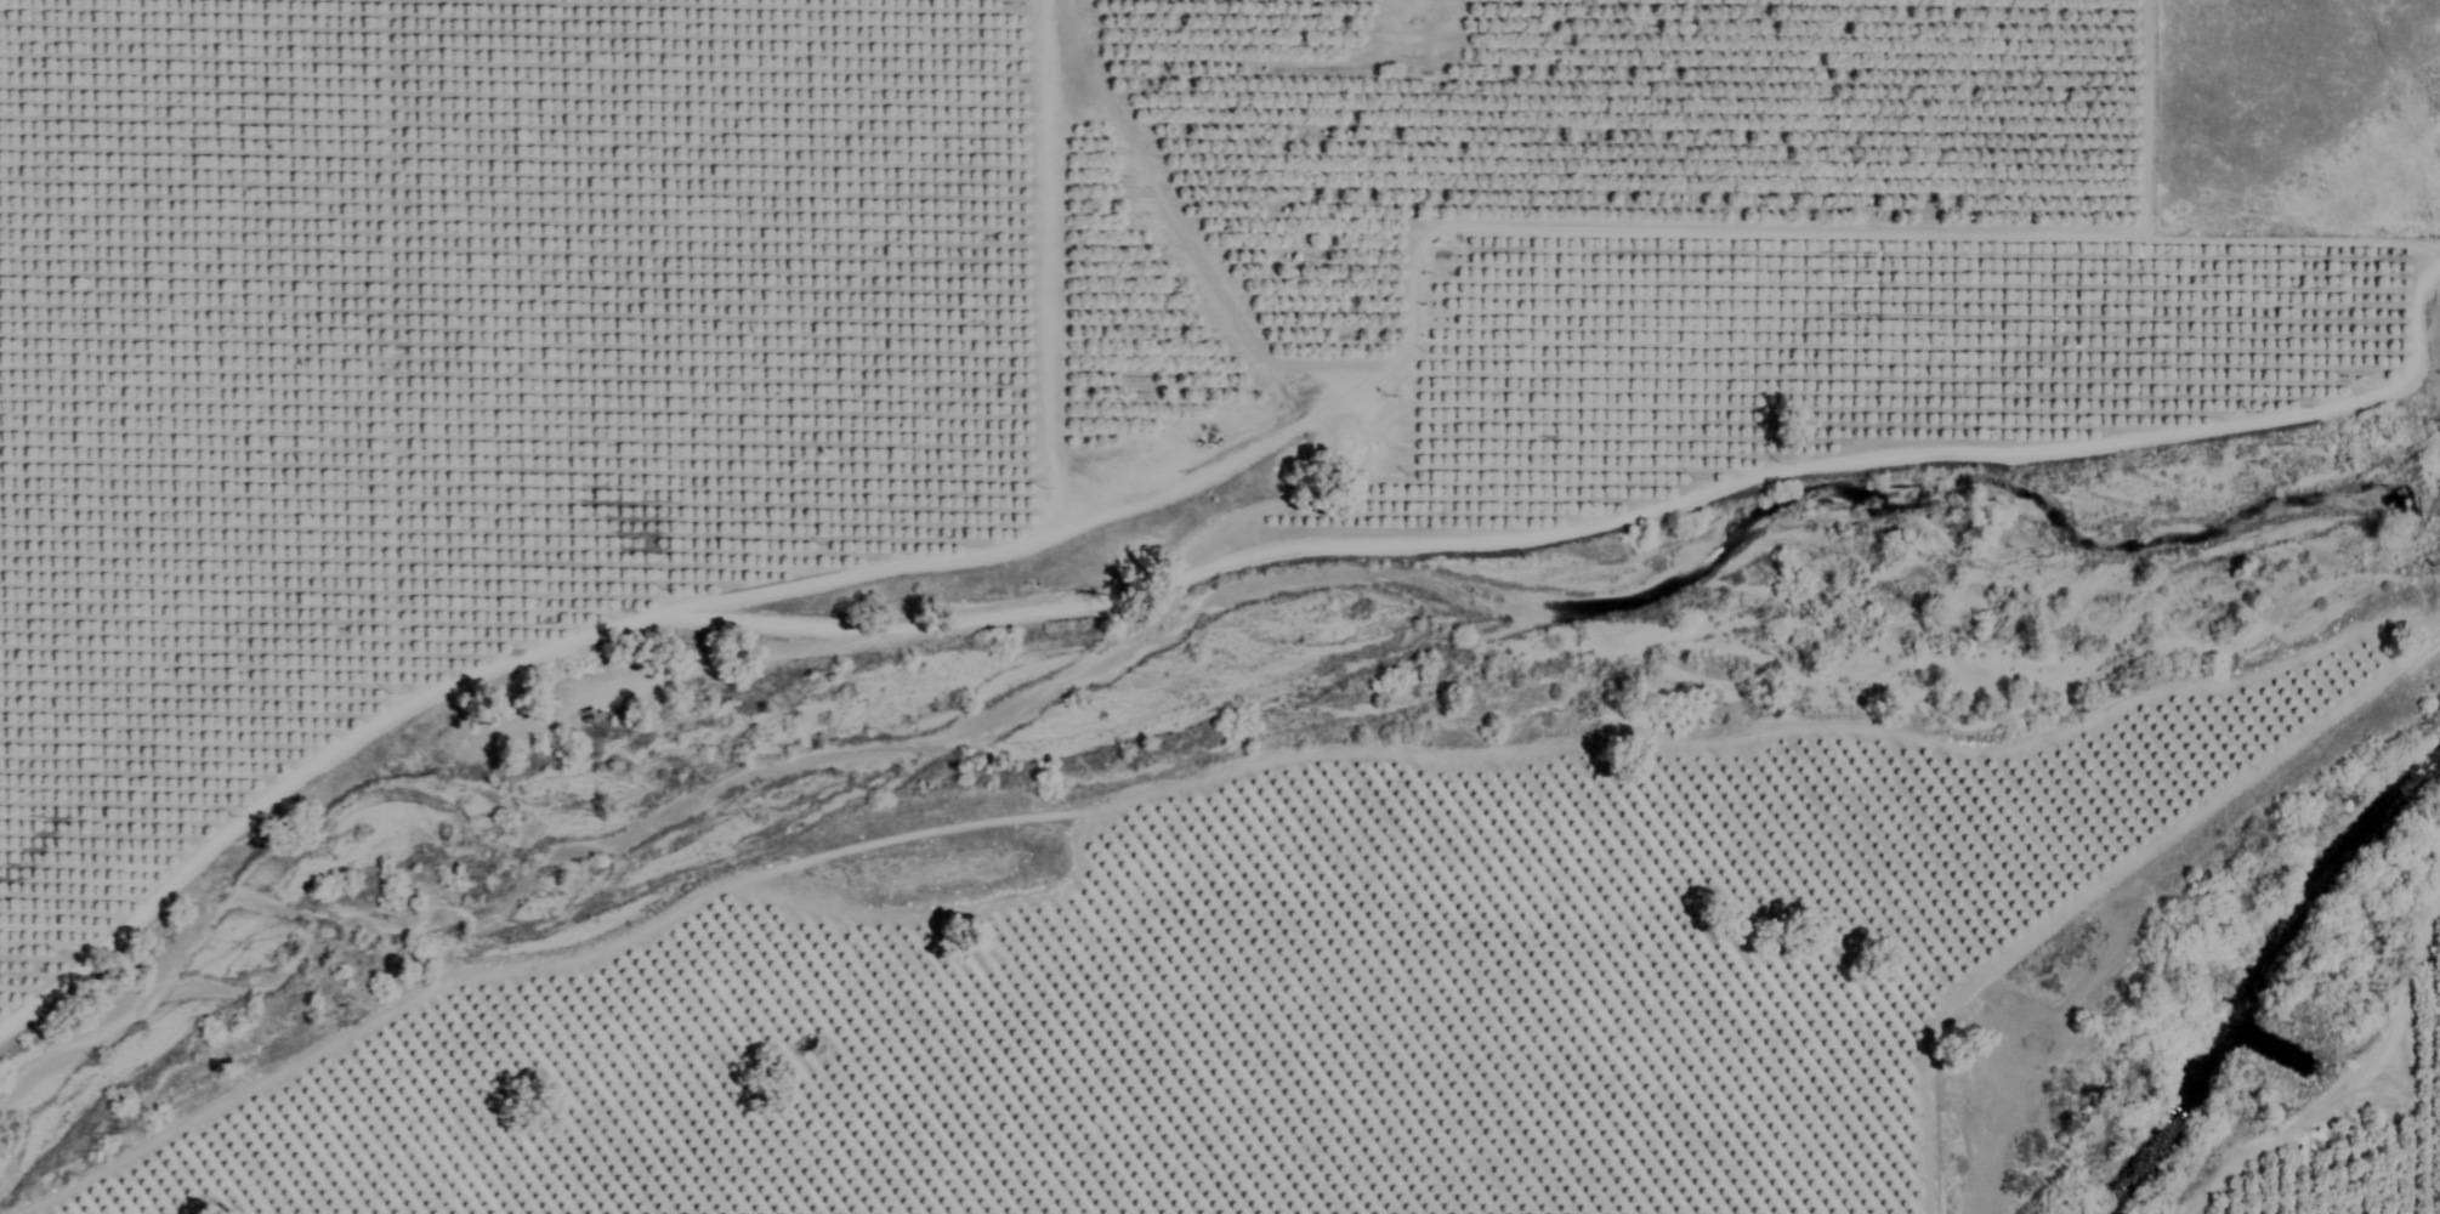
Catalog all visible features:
crop: (789, 296)
road: (1185, 380)
crop: (1335, 1017)
crop: (2356, 1129)

